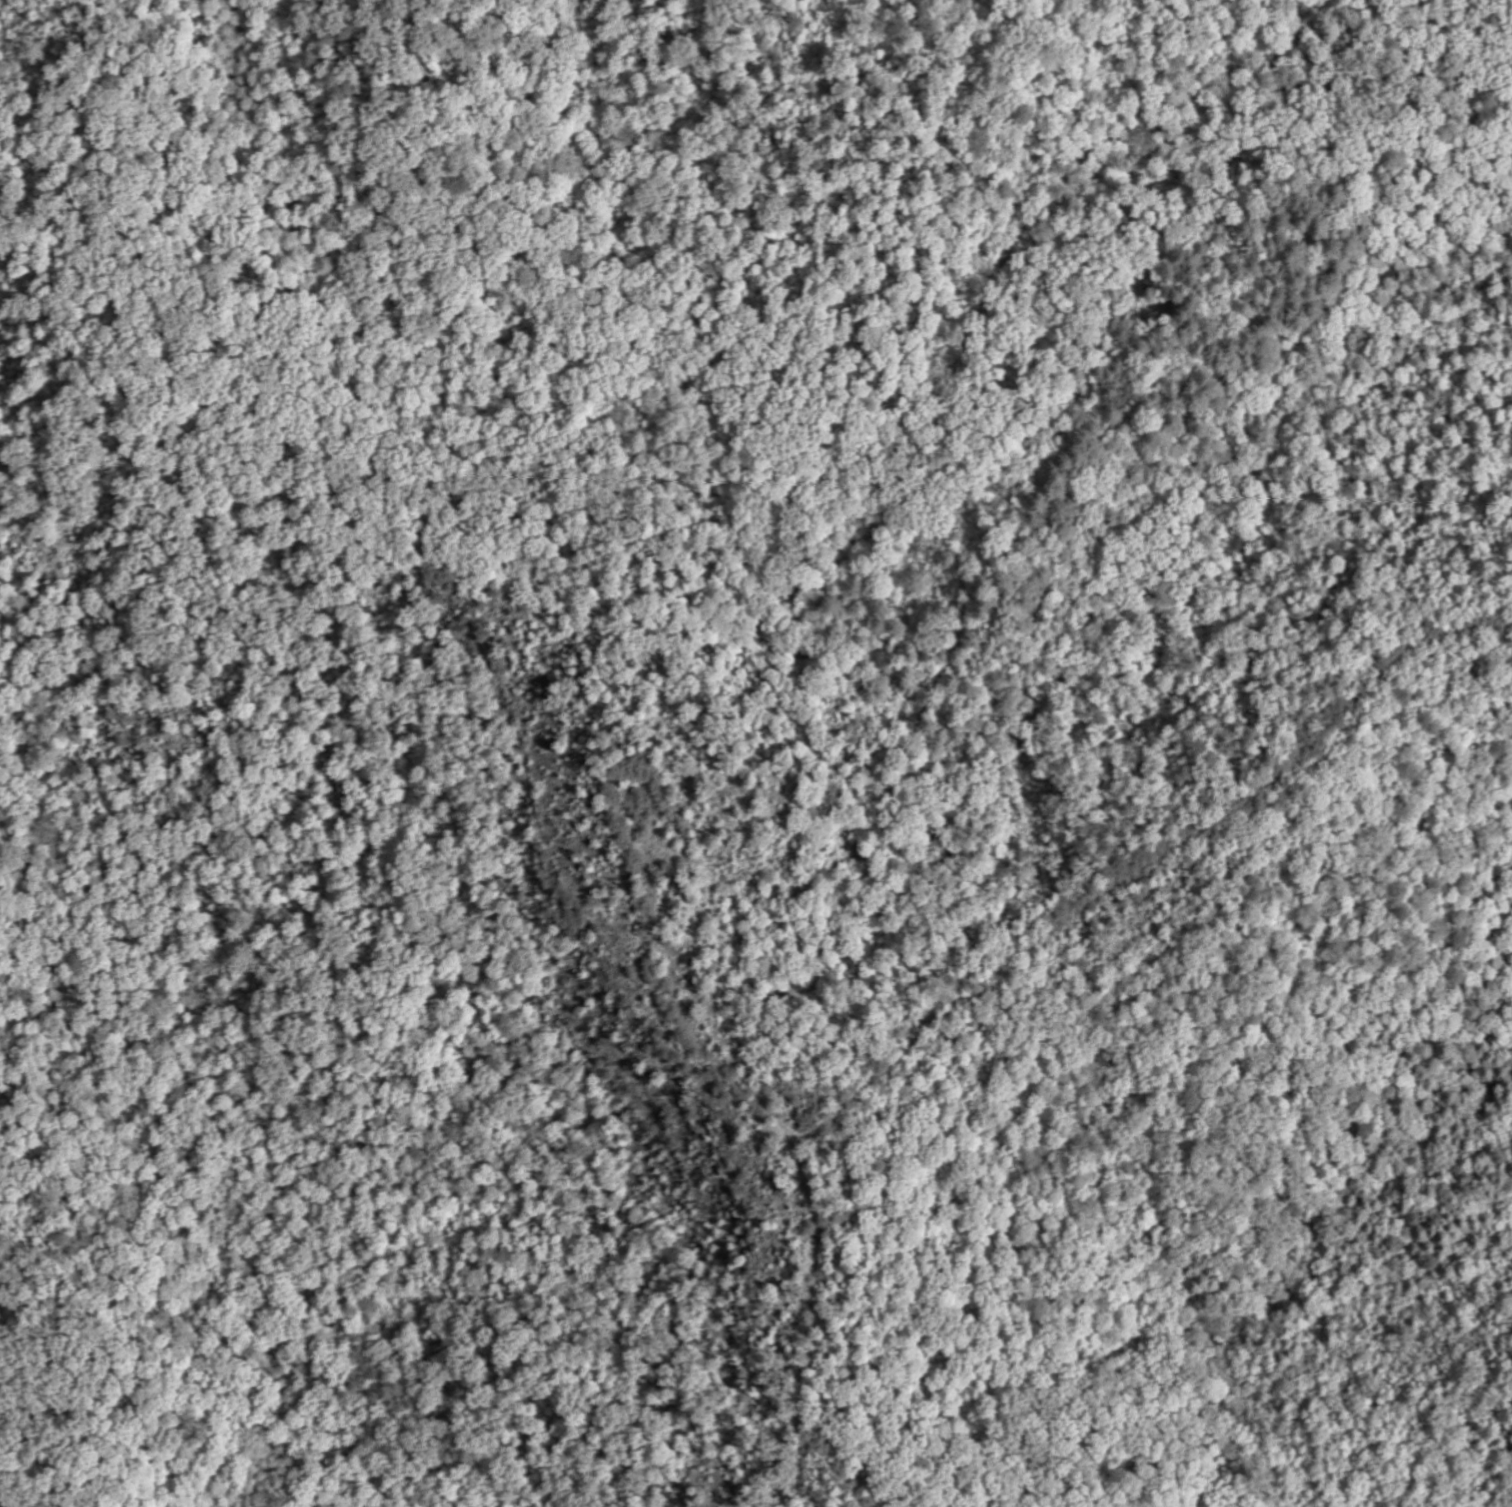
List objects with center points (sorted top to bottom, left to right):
road: (818, 1324)

